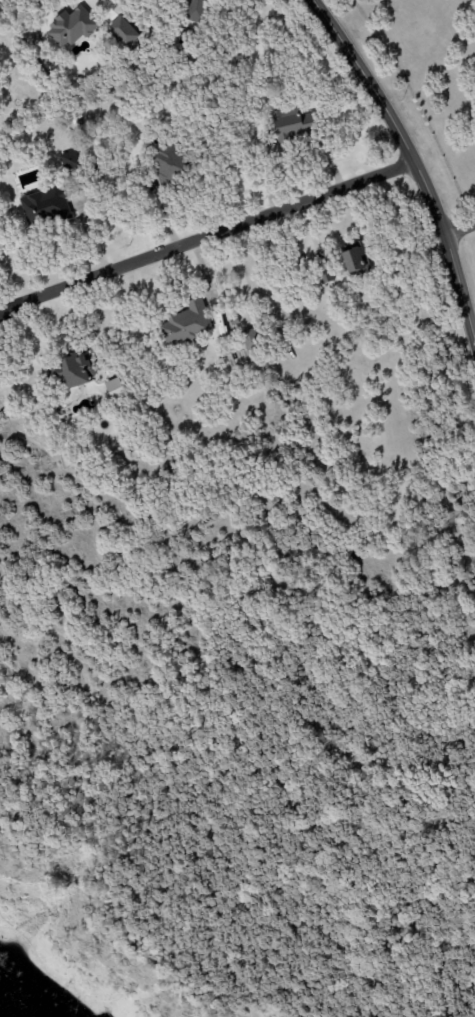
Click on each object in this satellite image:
road: (102, 2)
building: (195, 10)
building: (71, 27)
building: (122, 32)
building: (292, 126)
building: (69, 161)
road: (412, 163)
building: (167, 166)
building: (44, 206)
road: (460, 227)
road: (204, 237)
building: (355, 259)
building: (324, 273)
building: (185, 324)
building: (249, 340)
building: (74, 370)
building: (114, 389)
road: (40, 637)
road: (461, 675)
park: (272, 832)
road: (134, 888)

